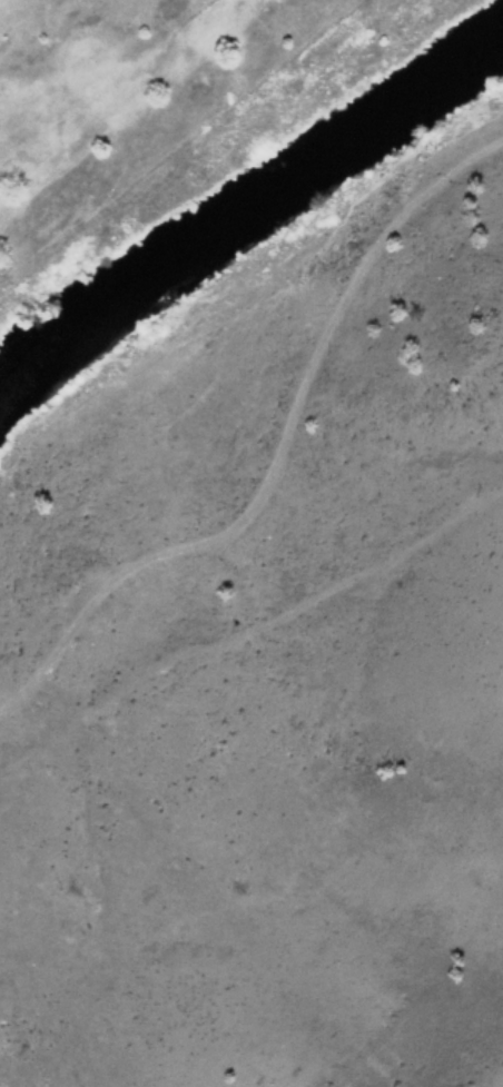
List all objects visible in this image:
park: (131, 98)
river: (245, 213)
road: (276, 463)

